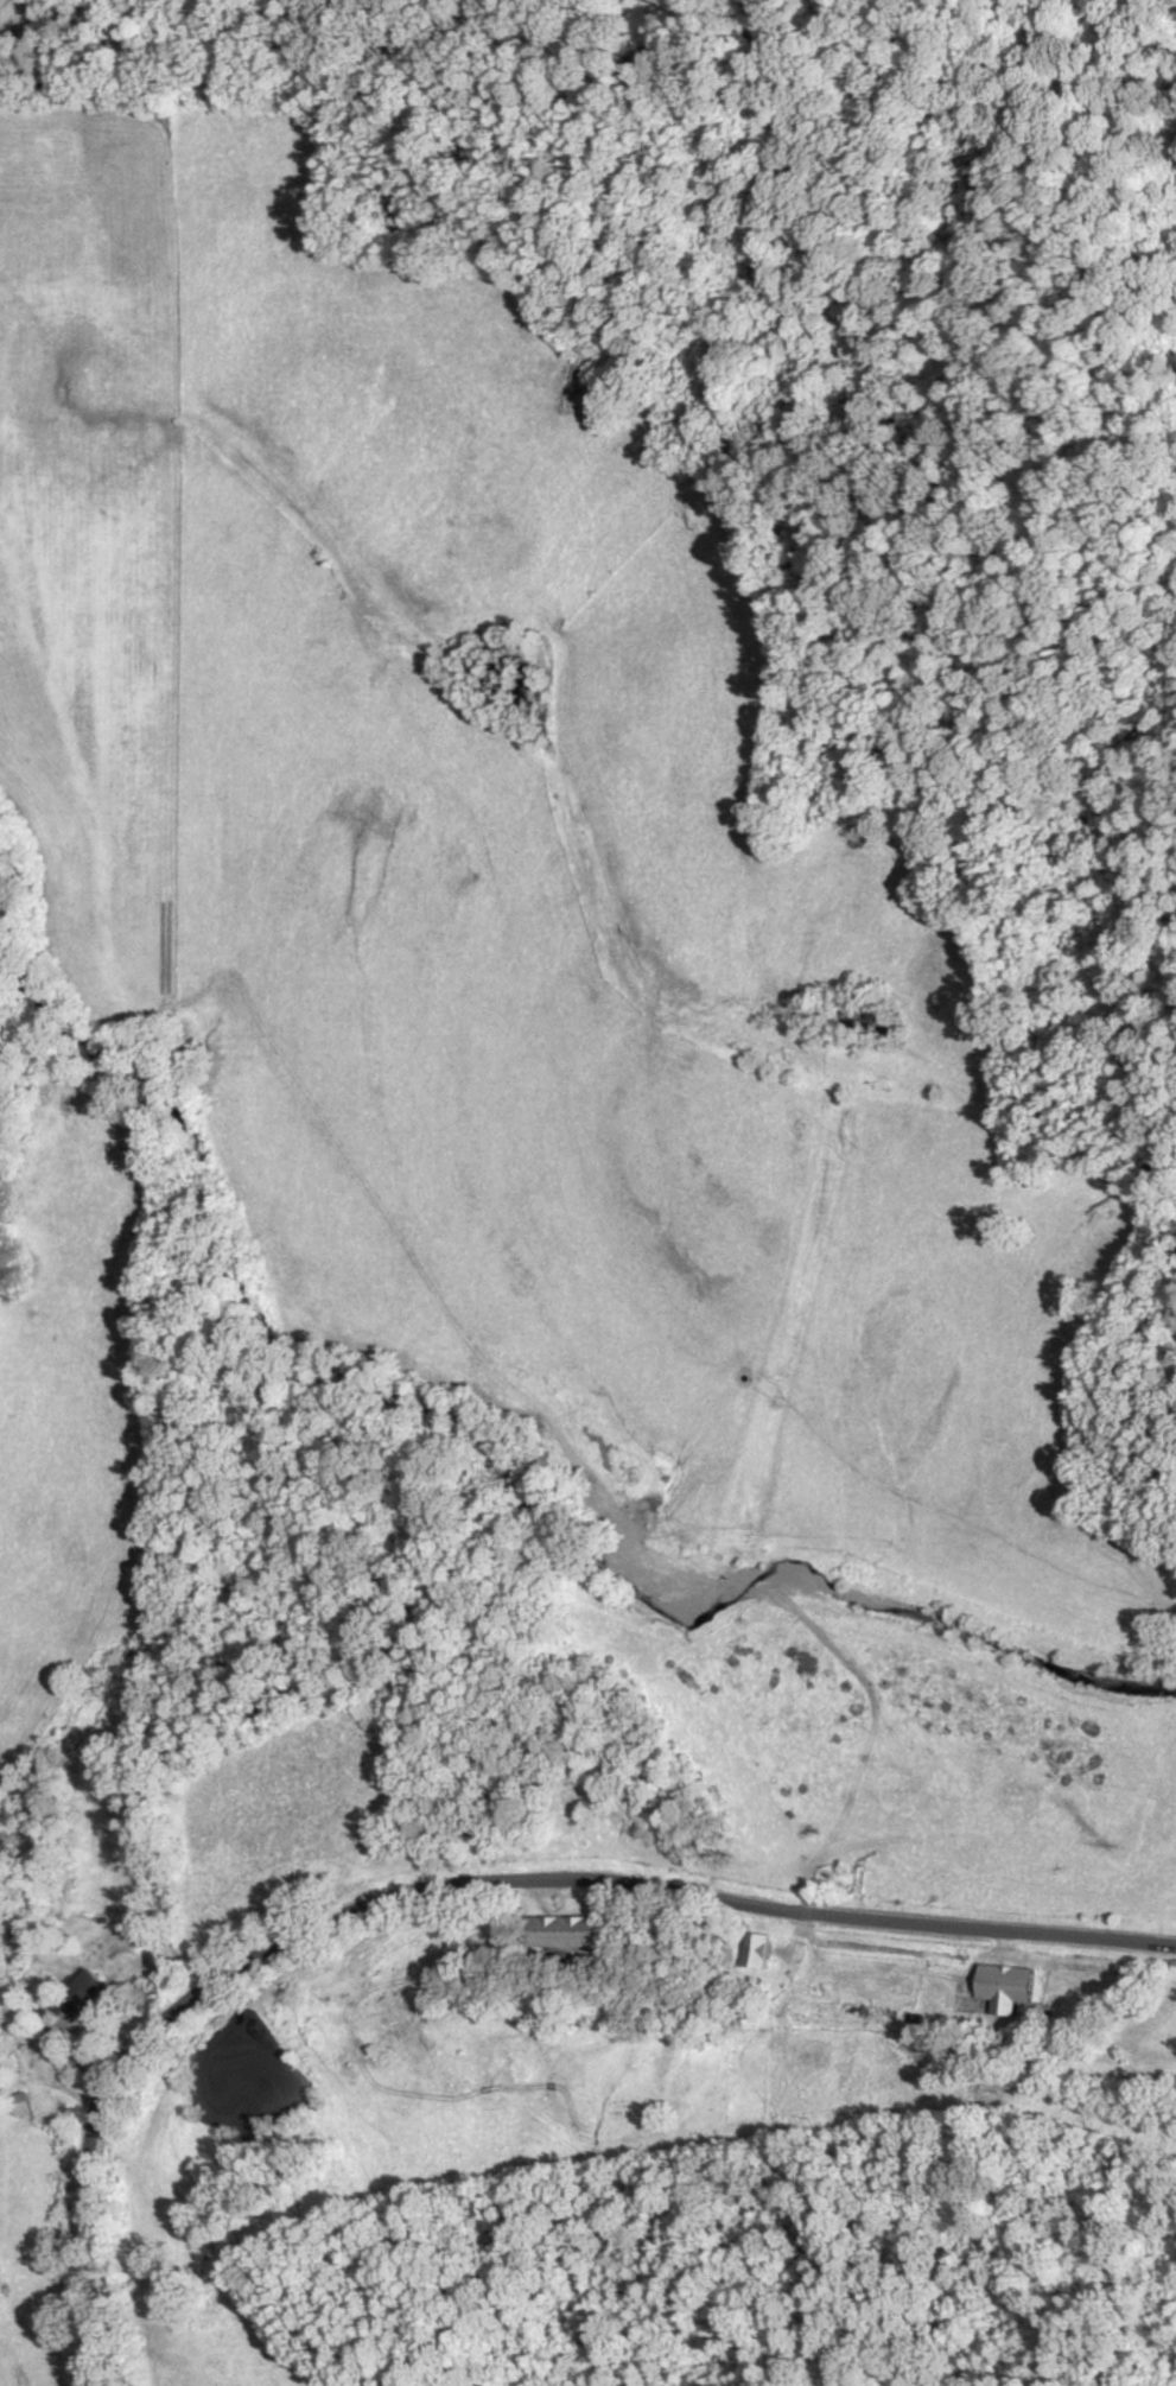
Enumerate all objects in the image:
road: (440, 1891)
building: (560, 1931)
building: (752, 1950)
building: (1005, 1987)
building: (78, 1994)
building: (18, 2102)

